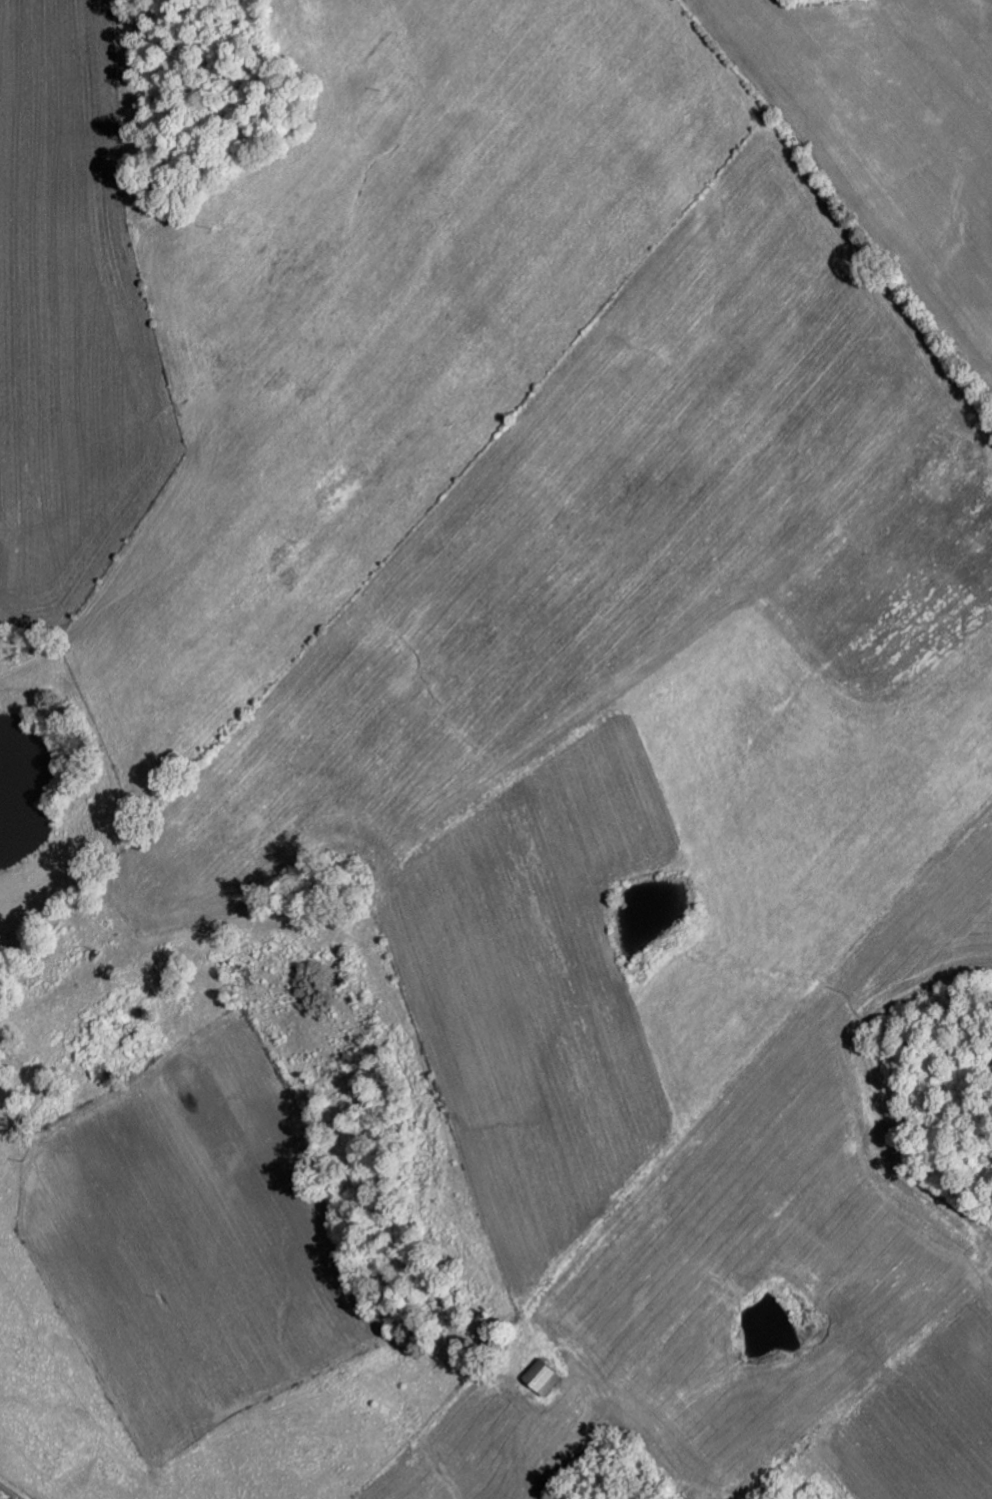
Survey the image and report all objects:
road: (528, 1463)
road: (9, 1491)

